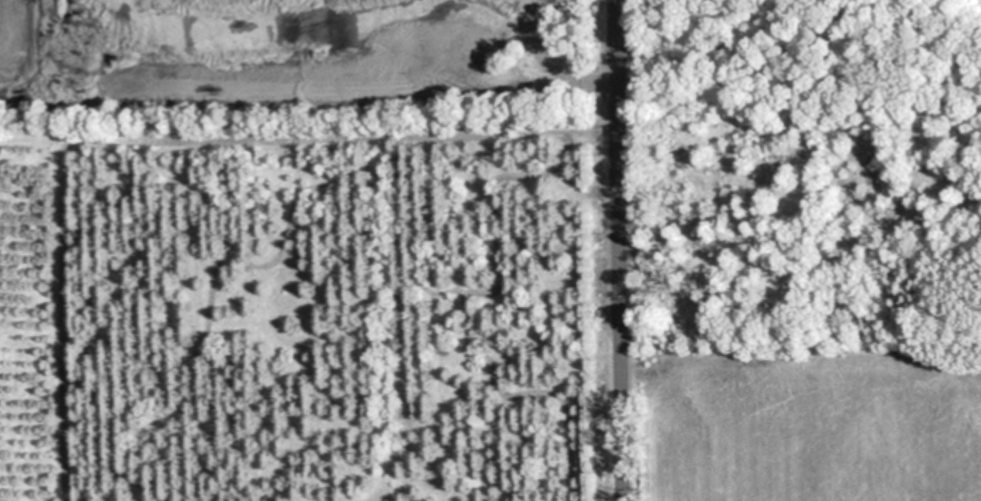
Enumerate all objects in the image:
quarry: (302, 67)
road: (623, 250)

